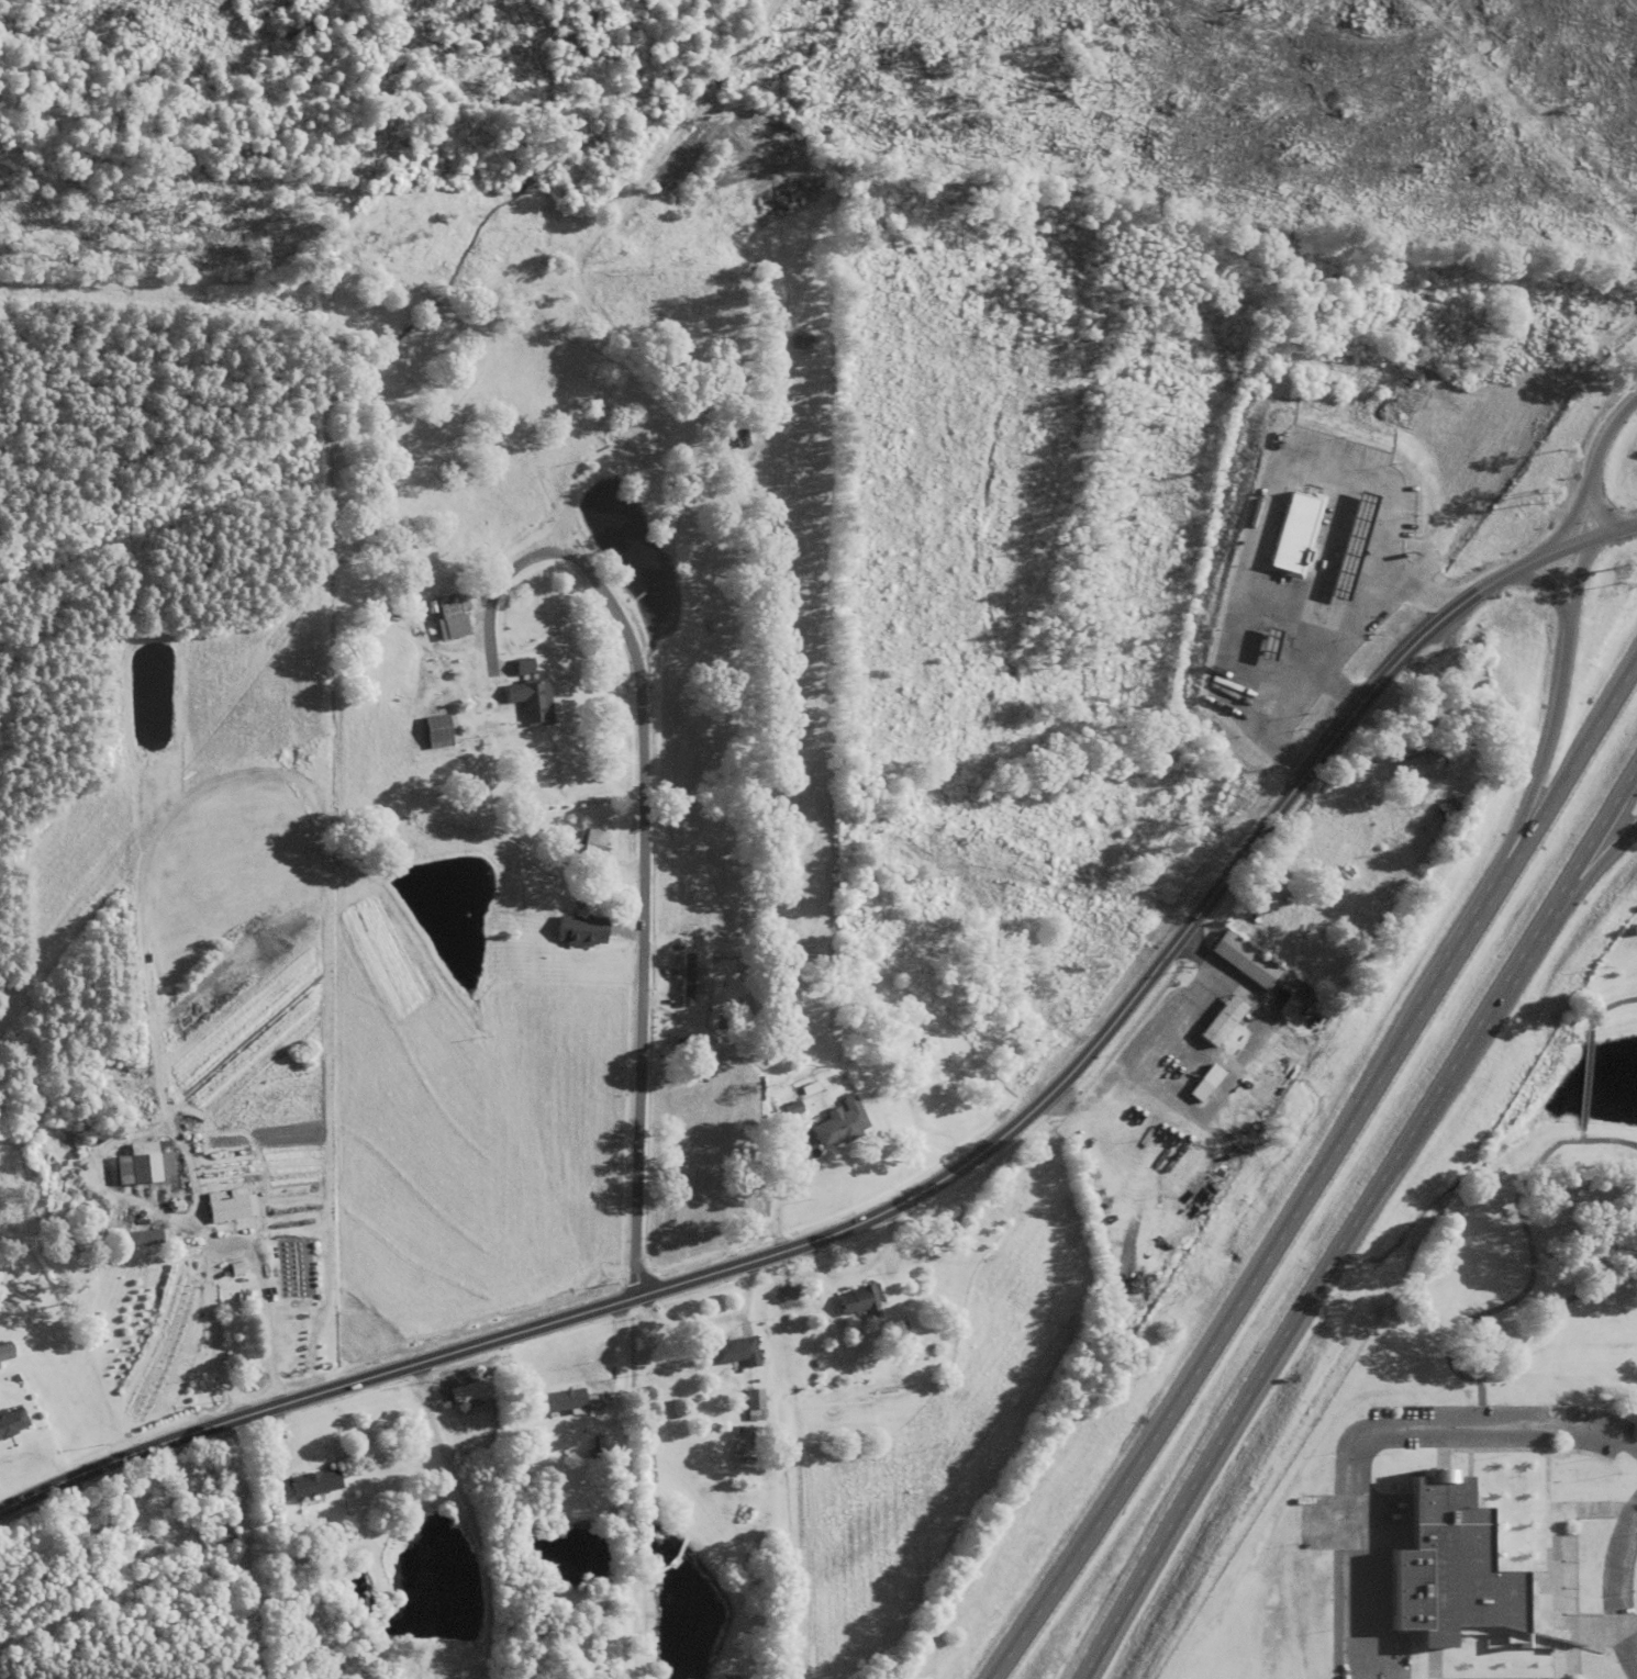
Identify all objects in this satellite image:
building: (803, 339)
building: (739, 421)
road: (1606, 436)
road: (1285, 452)
road: (612, 463)
road: (1593, 507)
road: (1574, 516)
building: (1293, 526)
building: (1368, 538)
road: (1329, 539)
building: (1352, 539)
gas station: (1352, 539)
road: (1570, 540)
road: (1574, 579)
road: (1483, 583)
road: (1545, 587)
road: (1414, 593)
road: (1329, 616)
building: (454, 619)
building: (1363, 627)
building: (1270, 638)
gas station: (1270, 638)
road: (1271, 657)
road: (1304, 682)
building: (532, 696)
building: (439, 734)
building: (1439, 758)
road: (1544, 759)
road: (229, 777)
building: (1449, 807)
road: (644, 826)
road: (1596, 832)
building: (598, 850)
road: (1596, 861)
building: (581, 928)
road: (1190, 949)
building: (1248, 960)
road: (1207, 962)
building: (688, 978)
building: (1292, 986)
road: (1606, 1007)
building: (1225, 1021)
road: (1481, 1021)
road: (1151, 1045)
building: (1214, 1075)
road: (1584, 1079)
building: (811, 1087)
road: (1058, 1101)
building: (794, 1107)
road: (1217, 1110)
road: (1078, 1117)
building: (842, 1122)
road: (1608, 1139)
building: (142, 1163)
road: (1319, 1173)
road: (1523, 1177)
road: (100, 1183)
road: (781, 1189)
building: (231, 1205)
road: (843, 1228)
building: (136, 1236)
park: (1534, 1236)
road: (871, 1262)
road: (812, 1285)
road: (746, 1298)
building: (862, 1299)
road: (265, 1306)
building: (853, 1322)
road: (686, 1327)
building: (899, 1332)
building: (5, 1350)
road: (622, 1350)
building: (737, 1350)
road: (1481, 1378)
building: (467, 1391)
building: (565, 1399)
building: (756, 1402)
building: (589, 1403)
road: (1239, 1409)
building: (12, 1421)
road: (278, 1444)
building: (316, 1481)
building: (200, 1498)
road: (1636, 1502)
road: (468, 1511)
building: (91, 1527)
building: (221, 1541)
building: (1447, 1568)
road: (1610, 1590)

